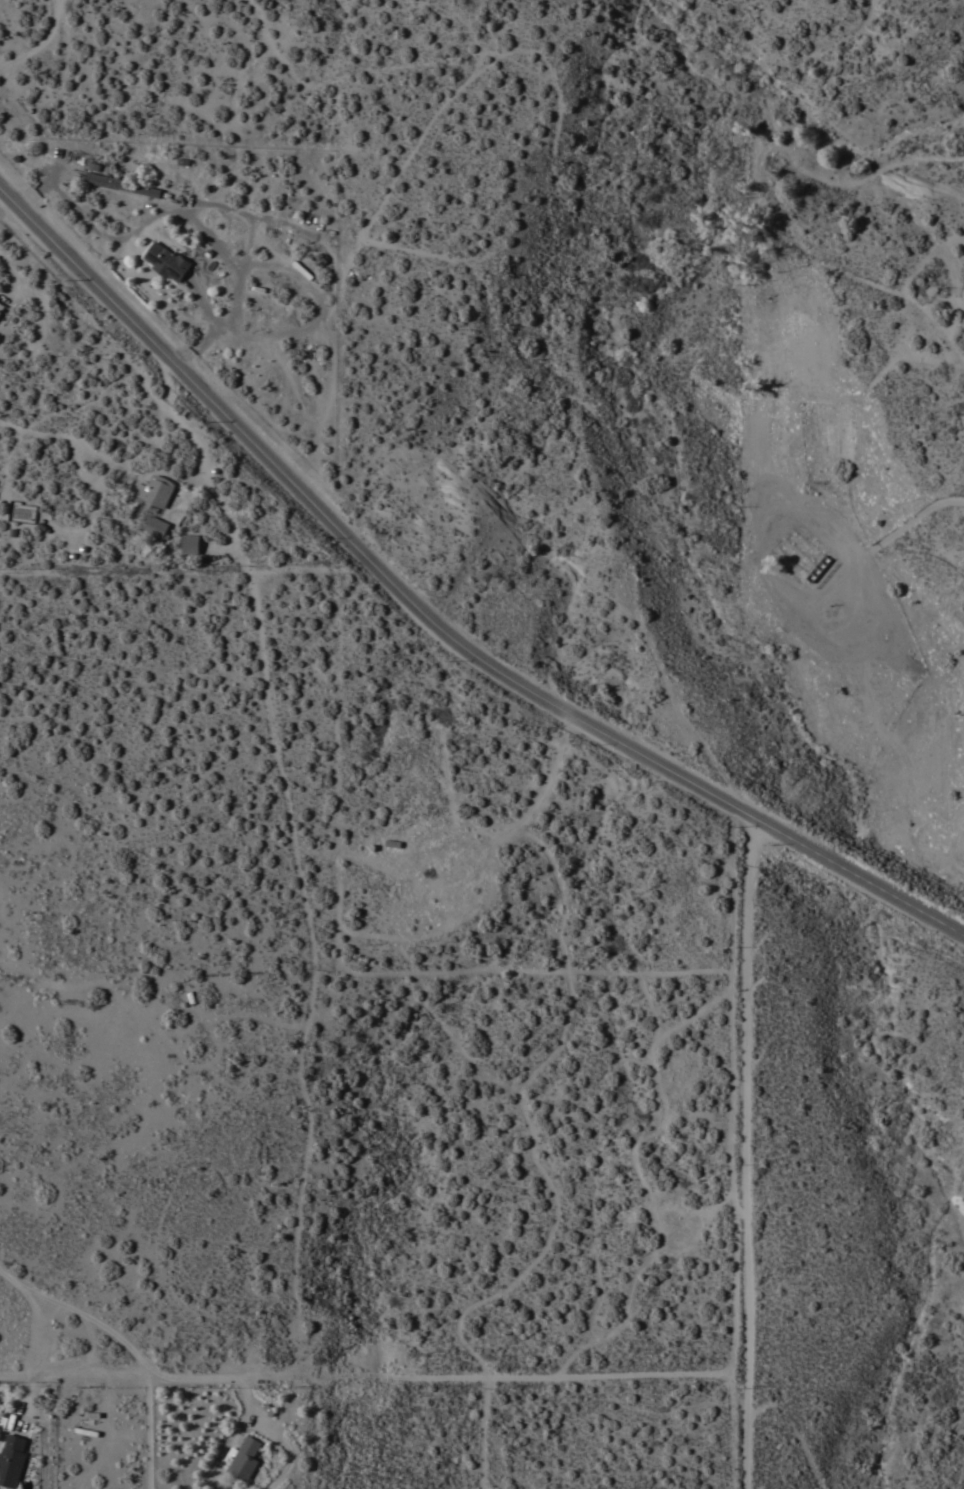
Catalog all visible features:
road: (43, 43)
building: (119, 184)
road: (157, 214)
building: (166, 261)
building: (1, 307)
road: (208, 334)
road: (201, 458)
building: (152, 492)
building: (155, 527)
building: (190, 544)
road: (124, 568)
building: (819, 571)
road: (438, 614)
road: (311, 965)
road: (751, 1149)
road: (129, 1345)
road: (375, 1374)
road: (45, 1440)
building: (242, 1458)
building: (11, 1460)

